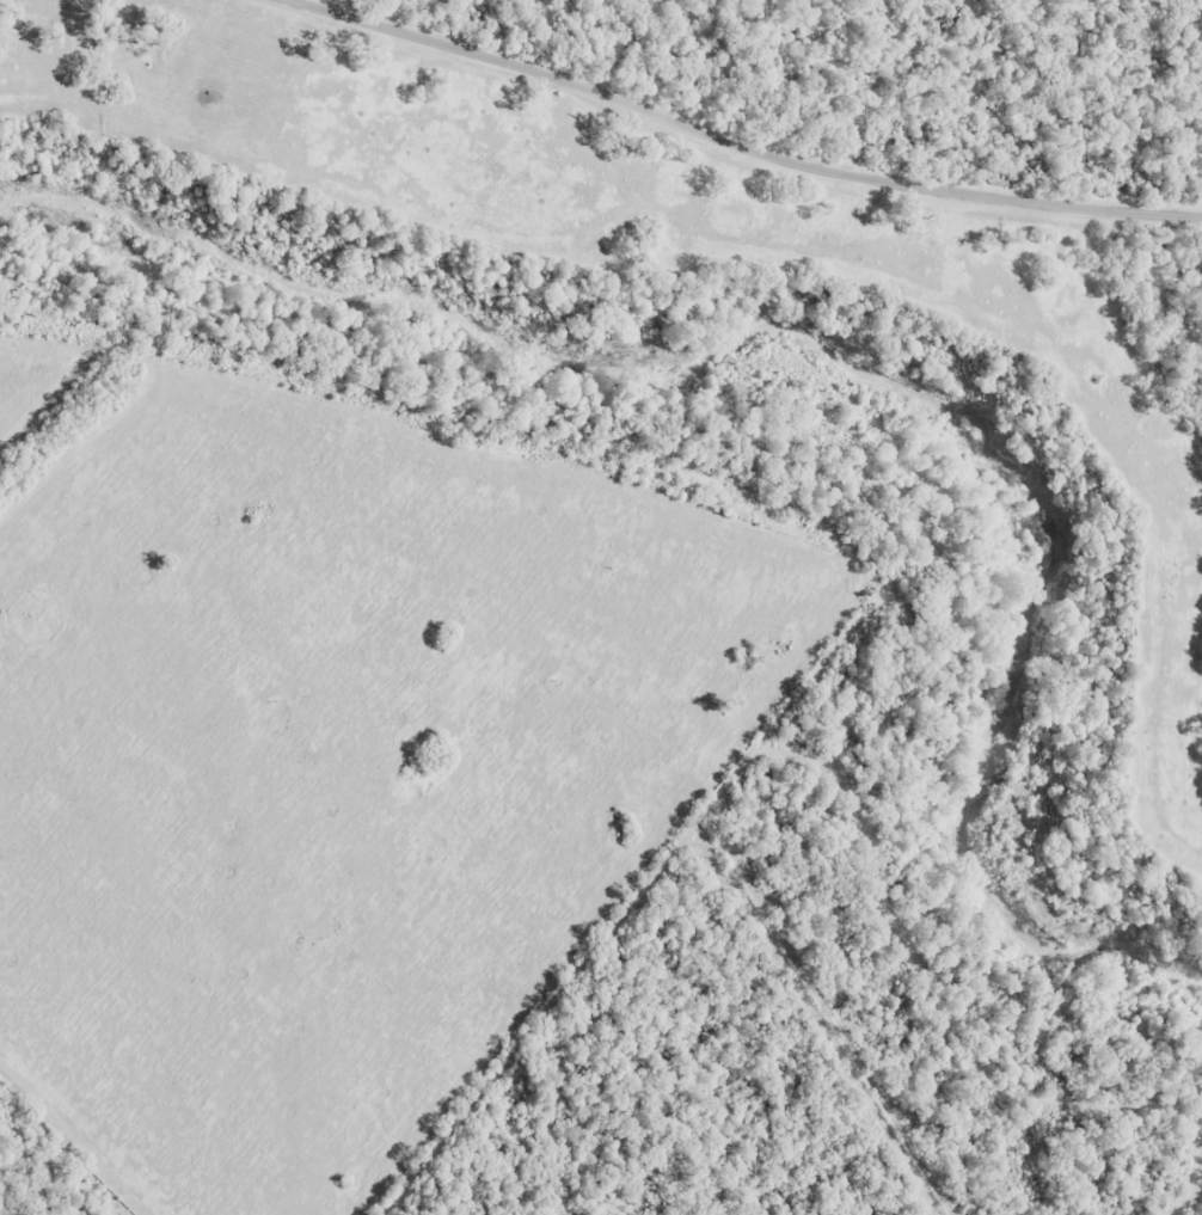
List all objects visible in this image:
road: (679, 160)
river: (842, 357)

